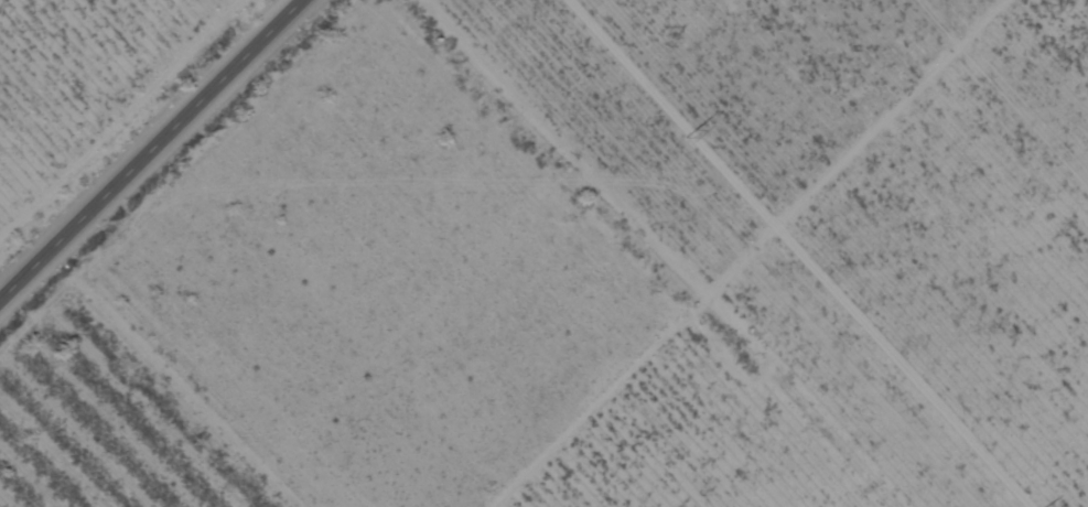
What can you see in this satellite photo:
power tower: (704, 126)
road: (149, 148)
power tower: (1045, 505)

